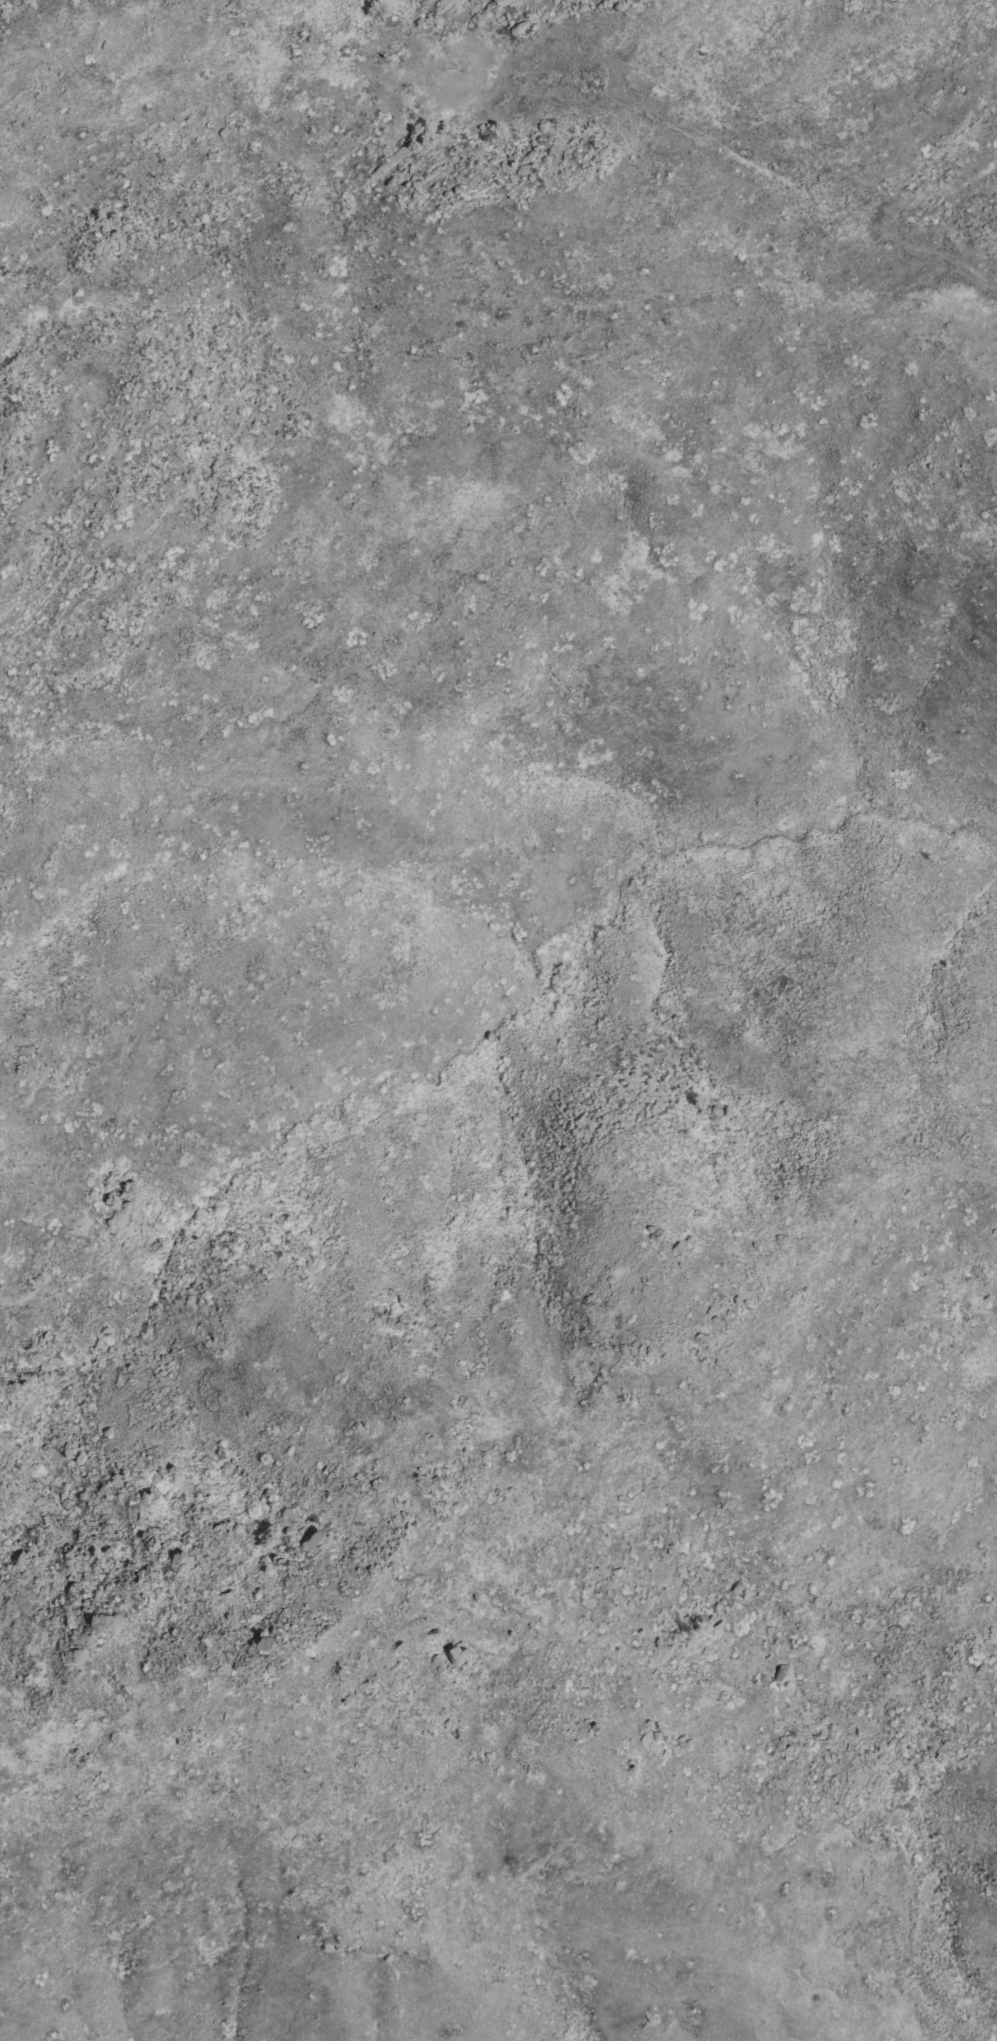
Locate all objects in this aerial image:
road: (922, 1881)

